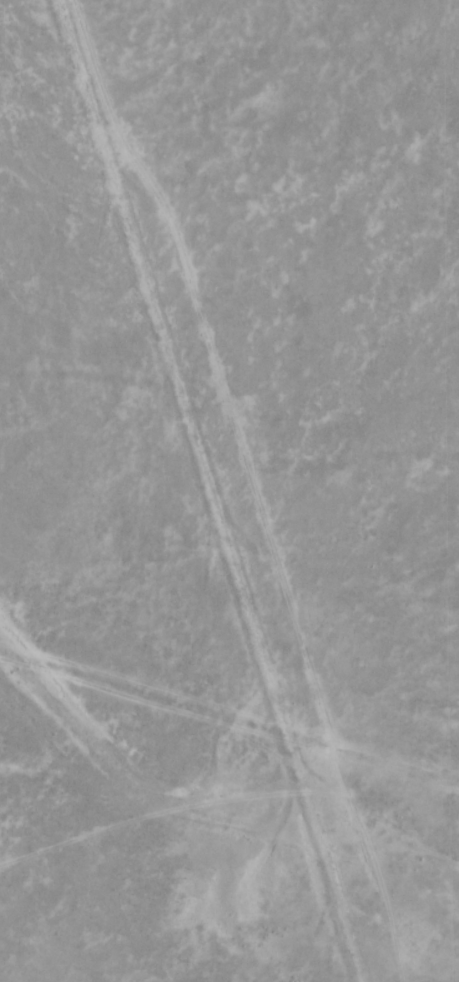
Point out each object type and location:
road: (214, 490)
road: (149, 856)

